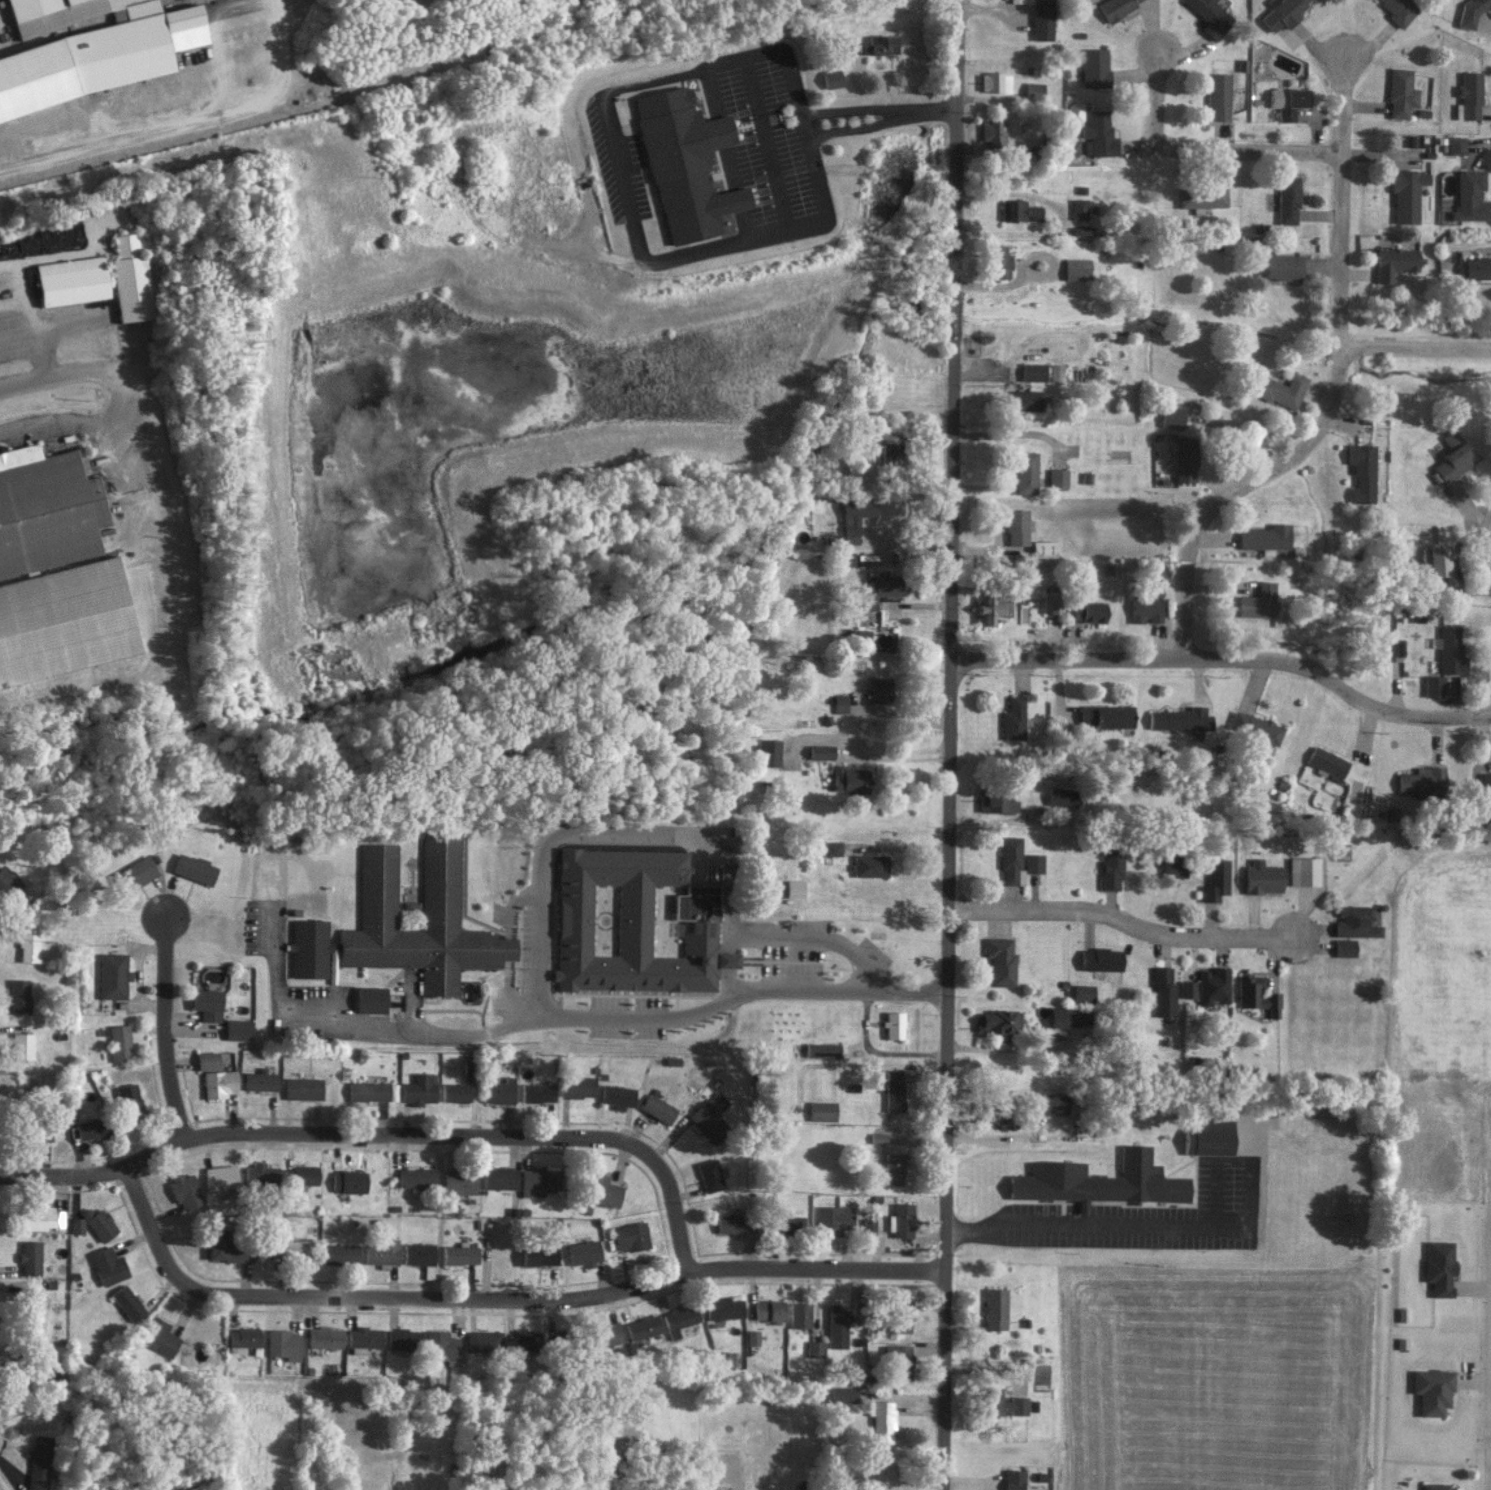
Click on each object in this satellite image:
building: (1116, 7)
building: (1400, 10)
building: (1471, 12)
building: (1283, 13)
building: (1211, 17)
building: (1042, 19)
building: (881, 44)
building: (92, 48)
building: (1094, 67)
building: (832, 77)
building: (994, 81)
building: (1034, 90)
building: (1401, 92)
building: (1219, 95)
building: (1469, 96)
building: (1288, 101)
road: (848, 107)
road: (925, 109)
building: (1074, 112)
road: (852, 127)
building: (993, 131)
building: (1098, 134)
building: (1455, 144)
road: (1196, 155)
building: (686, 164)
road: (619, 178)
building: (1407, 194)
building: (1470, 196)
building: (1202, 197)
building: (1288, 199)
building: (1078, 208)
building: (1019, 210)
building: (1082, 230)
building: (1000, 262)
building: (1395, 262)
building: (1283, 266)
building: (1477, 267)
building: (1076, 268)
building: (100, 279)
road: (1416, 348)
building: (1034, 371)
building: (1055, 372)
road: (61, 374)
building: (1281, 389)
road: (1338, 390)
building: (1028, 400)
building: (1172, 417)
road: (72, 418)
building: (891, 453)
building: (1454, 457)
building: (1185, 459)
road: (172, 471)
building: (1026, 472)
building: (1362, 472)
building: (1057, 477)
building: (856, 516)
building: (1016, 526)
building: (1266, 536)
building: (1044, 548)
building: (848, 558)
building: (1439, 560)
building: (56, 570)
building: (11, 578)
building: (883, 588)
building: (1052, 602)
building: (1259, 602)
building: (1146, 608)
building: (992, 609)
building: (1090, 611)
building: (1450, 650)
road: (1227, 659)
building: (1433, 685)
building: (879, 688)
building: (840, 703)
building: (1106, 716)
building: (1013, 718)
building: (1180, 719)
building: (1256, 728)
road: (950, 745)
building: (768, 752)
building: (820, 752)
building: (1327, 762)
building: (850, 779)
building: (1423, 781)
building: (1486, 786)
building: (1059, 796)
building: (997, 802)
road: (676, 835)
building: (832, 848)
building: (1012, 860)
building: (1034, 863)
building: (869, 865)
building: (1175, 866)
building: (1112, 868)
building: (193, 869)
building: (1304, 871)
building: (136, 872)
building: (1263, 877)
building: (1215, 880)
building: (441, 884)
building: (7, 887)
building: (794, 888)
road: (1122, 921)
building: (1356, 922)
building: (635, 923)
building: (30, 946)
building: (1345, 947)
building: (309, 949)
building: (1101, 959)
building: (1000, 960)
building: (113, 976)
building: (1213, 986)
building: (1187, 987)
building: (1163, 991)
building: (1083, 993)
building: (1256, 995)
building: (18, 996)
building: (371, 999)
building: (207, 1004)
building: (1069, 1017)
road: (566, 1018)
building: (997, 1022)
building: (894, 1025)
road: (159, 1026)
building: (236, 1029)
building: (119, 1042)
building: (22, 1045)
building: (822, 1050)
building: (208, 1061)
building: (259, 1080)
building: (219, 1083)
building: (577, 1086)
building: (303, 1088)
building: (419, 1090)
building: (894, 1090)
building: (368, 1091)
building: (499, 1091)
building: (455, 1092)
building: (537, 1093)
building: (617, 1096)
building: (128, 1098)
building: (1054, 1104)
building: (658, 1109)
building: (822, 1111)
building: (709, 1118)
building: (998, 1118)
building: (90, 1129)
road: (448, 1131)
building: (1211, 1137)
building: (877, 1138)
building: (894, 1169)
building: (261, 1174)
building: (301, 1175)
building: (710, 1175)
road: (67, 1176)
building: (220, 1177)
building: (415, 1177)
building: (499, 1178)
building: (538, 1181)
building: (1101, 1181)
building: (348, 1182)
building: (459, 1182)
building: (603, 1190)
building: (185, 1191)
building: (901, 1215)
building: (41, 1218)
building: (99, 1223)
building: (732, 1223)
building: (790, 1224)
building: (76, 1225)
road: (1095, 1227)
building: (630, 1236)
building: (293, 1249)
building: (228, 1251)
building: (381, 1252)
building: (584, 1253)
building: (339, 1254)
building: (418, 1254)
building: (460, 1255)
building: (540, 1257)
building: (30, 1259)
building: (108, 1266)
building: (1439, 1267)
road: (502, 1298)
building: (126, 1301)
building: (725, 1308)
building: (995, 1309)
building: (769, 1310)
building: (906, 1312)
building: (800, 1315)
building: (35, 1316)
building: (679, 1320)
building: (643, 1327)
building: (836, 1327)
building: (608, 1333)
building: (158, 1336)
building: (244, 1337)
building: (325, 1338)
building: (363, 1339)
building: (403, 1339)
building: (482, 1341)
building: (524, 1341)
building: (283, 1344)
building: (442, 1347)
building: (815, 1349)
building: (900, 1362)
building: (1432, 1390)
building: (843, 1393)
building: (1006, 1403)
building: (882, 1420)
building: (38, 1462)
building: (1013, 1479)
building: (1436, 1486)

